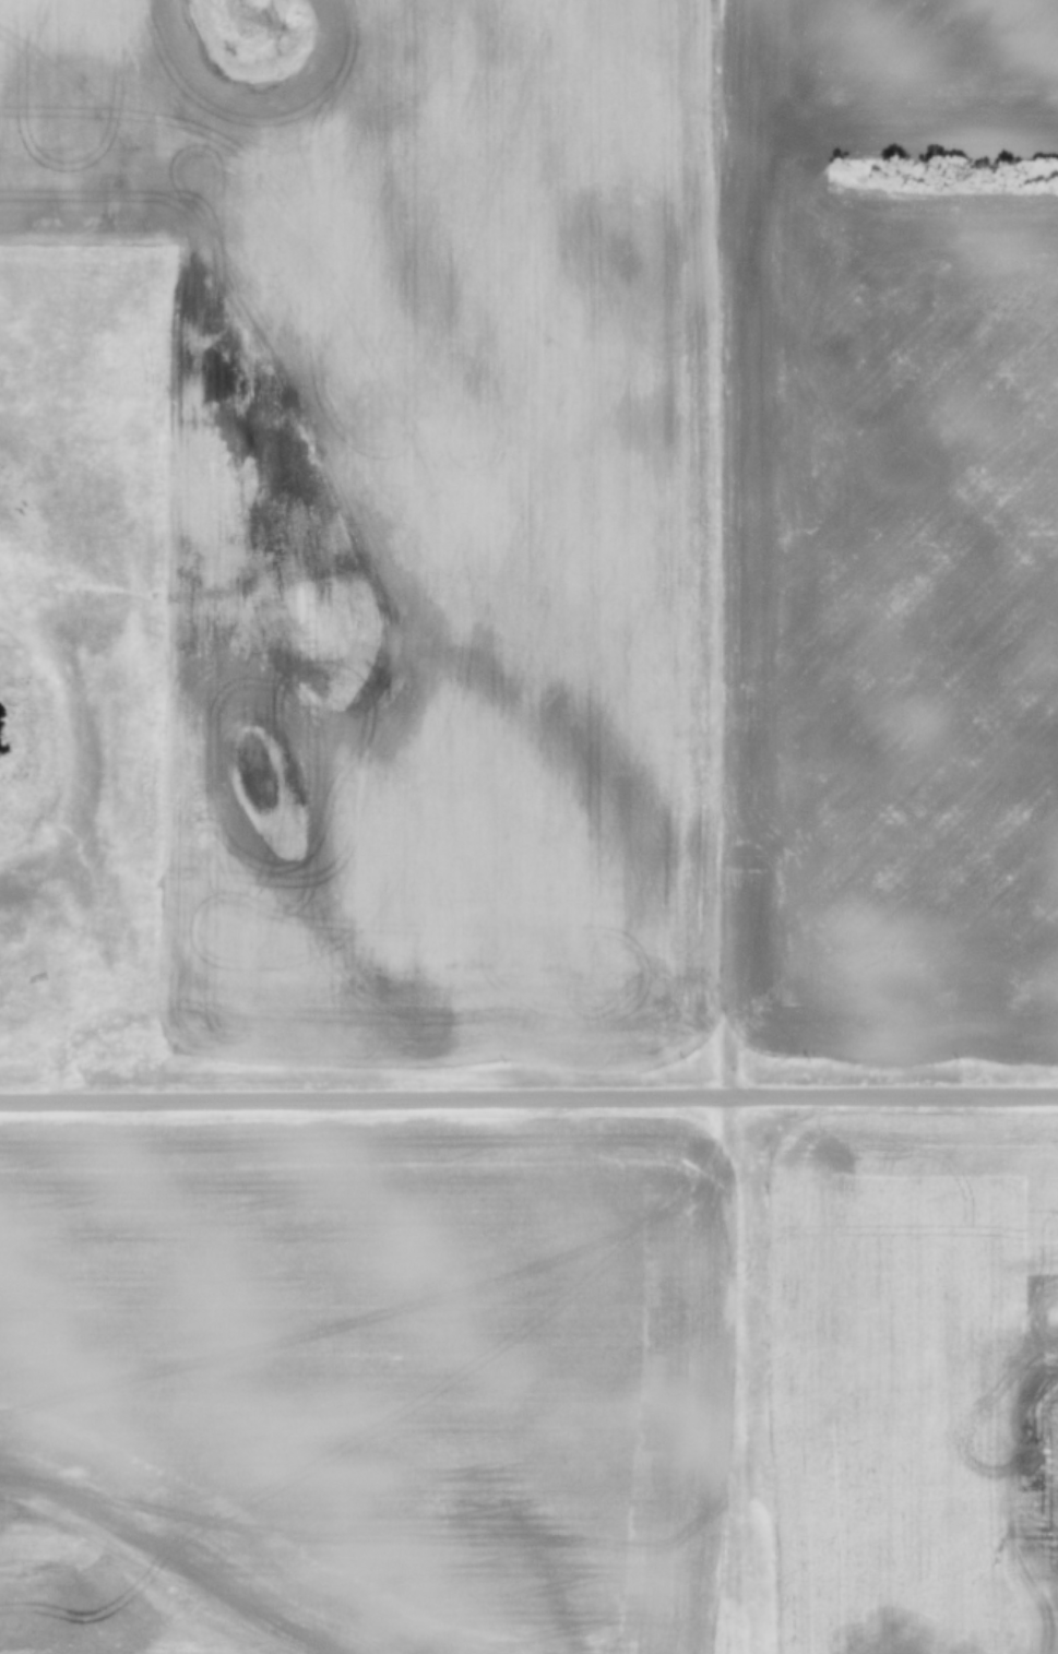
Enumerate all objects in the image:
road: (725, 826)
road: (528, 1095)

